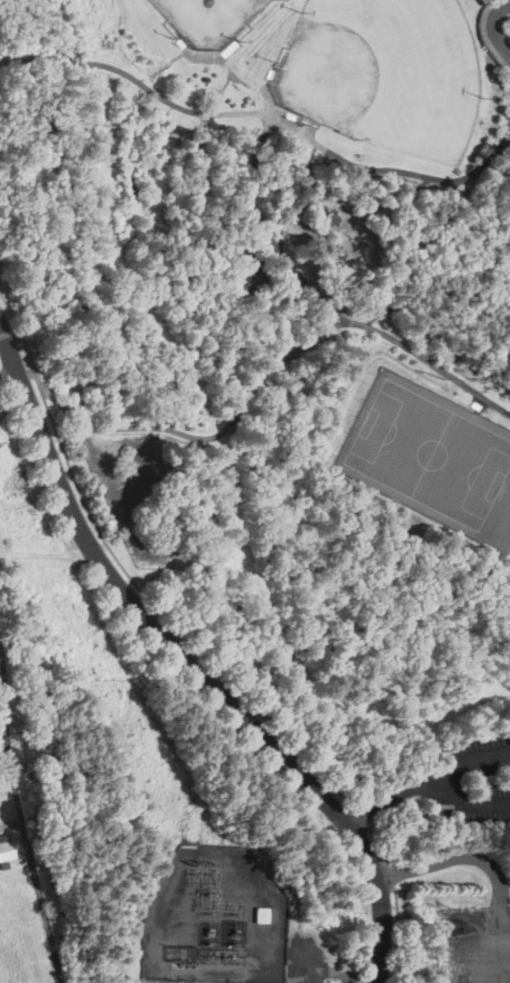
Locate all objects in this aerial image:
road: (507, 4)
street lamp: (302, 11)
street lamp: (509, 17)
park: (210, 19)
road: (493, 26)
street lamp: (175, 37)
road: (486, 37)
street lamp: (242, 41)
road: (178, 56)
road: (207, 56)
street lamp: (276, 61)
road: (65, 62)
road: (22, 63)
road: (227, 65)
park: (387, 72)
street lamp: (119, 77)
road: (145, 77)
building: (207, 80)
road: (228, 81)
road: (143, 84)
road: (259, 93)
street lamp: (486, 96)
street lamp: (164, 108)
road: (212, 109)
road: (278, 121)
street lamp: (302, 123)
street lamp: (214, 125)
road: (509, 136)
street lamp: (355, 138)
road: (202, 139)
road: (504, 140)
street lamp: (302, 141)
road: (428, 176)
road: (496, 177)
street lamp: (415, 178)
road: (391, 199)
street lamp: (264, 209)
road: (208, 212)
road: (293, 219)
road: (321, 233)
road: (355, 261)
road: (437, 270)
road: (266, 271)
building: (251, 281)
road: (282, 301)
road: (325, 305)
road: (432, 317)
road: (287, 320)
street lamp: (383, 322)
park: (257, 325)
street lamp: (18, 342)
street lamp: (436, 351)
road: (295, 354)
parking lot: (13, 364)
road: (27, 374)
road: (9, 375)
street lamp: (446, 377)
street lamp: (488, 390)
road: (244, 405)
road: (85, 420)
street lamp: (57, 440)
park: (431, 454)
street lamp: (380, 493)
street lamp: (104, 544)
street lamp: (471, 545)
street lamp: (175, 630)
road: (190, 662)
road: (234, 682)
street lamp: (256, 711)
road: (425, 780)
street lamp: (337, 795)
road: (468, 800)
road: (22, 815)
road: (11, 819)
building: (10, 848)
road: (454, 858)
building: (4, 865)
road: (23, 895)
street lamp: (393, 905)
building: (263, 915)
power substation: (216, 918)
road: (326, 965)
street lamp: (443, 982)

